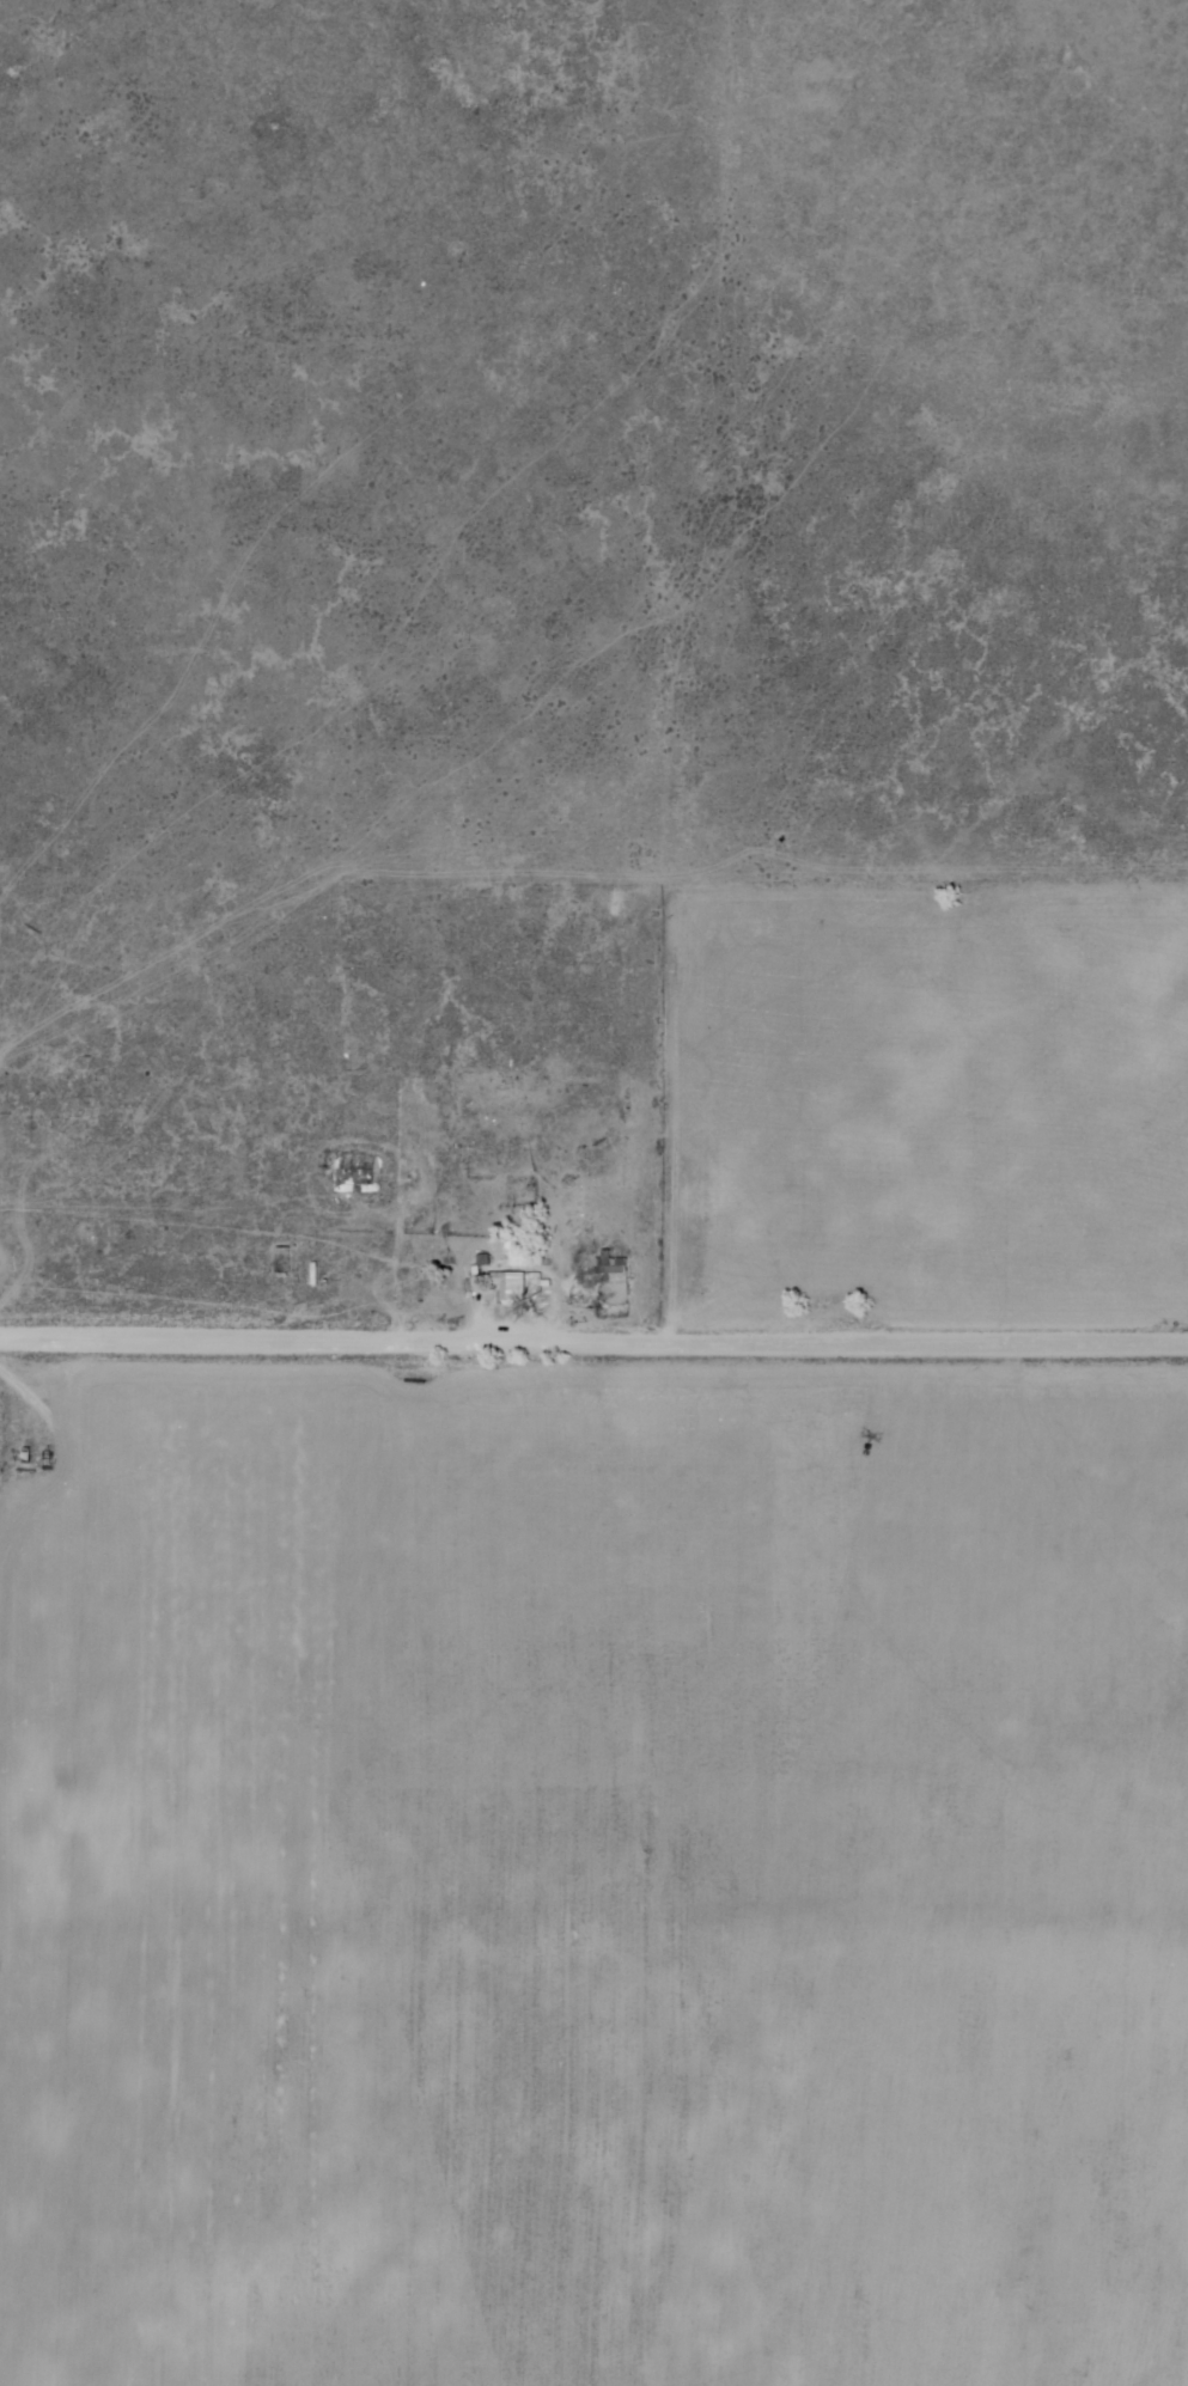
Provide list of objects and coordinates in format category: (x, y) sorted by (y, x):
building: (352, 1177)
building: (280, 1261)
building: (609, 1263)
building: (500, 1280)
road: (593, 1349)

